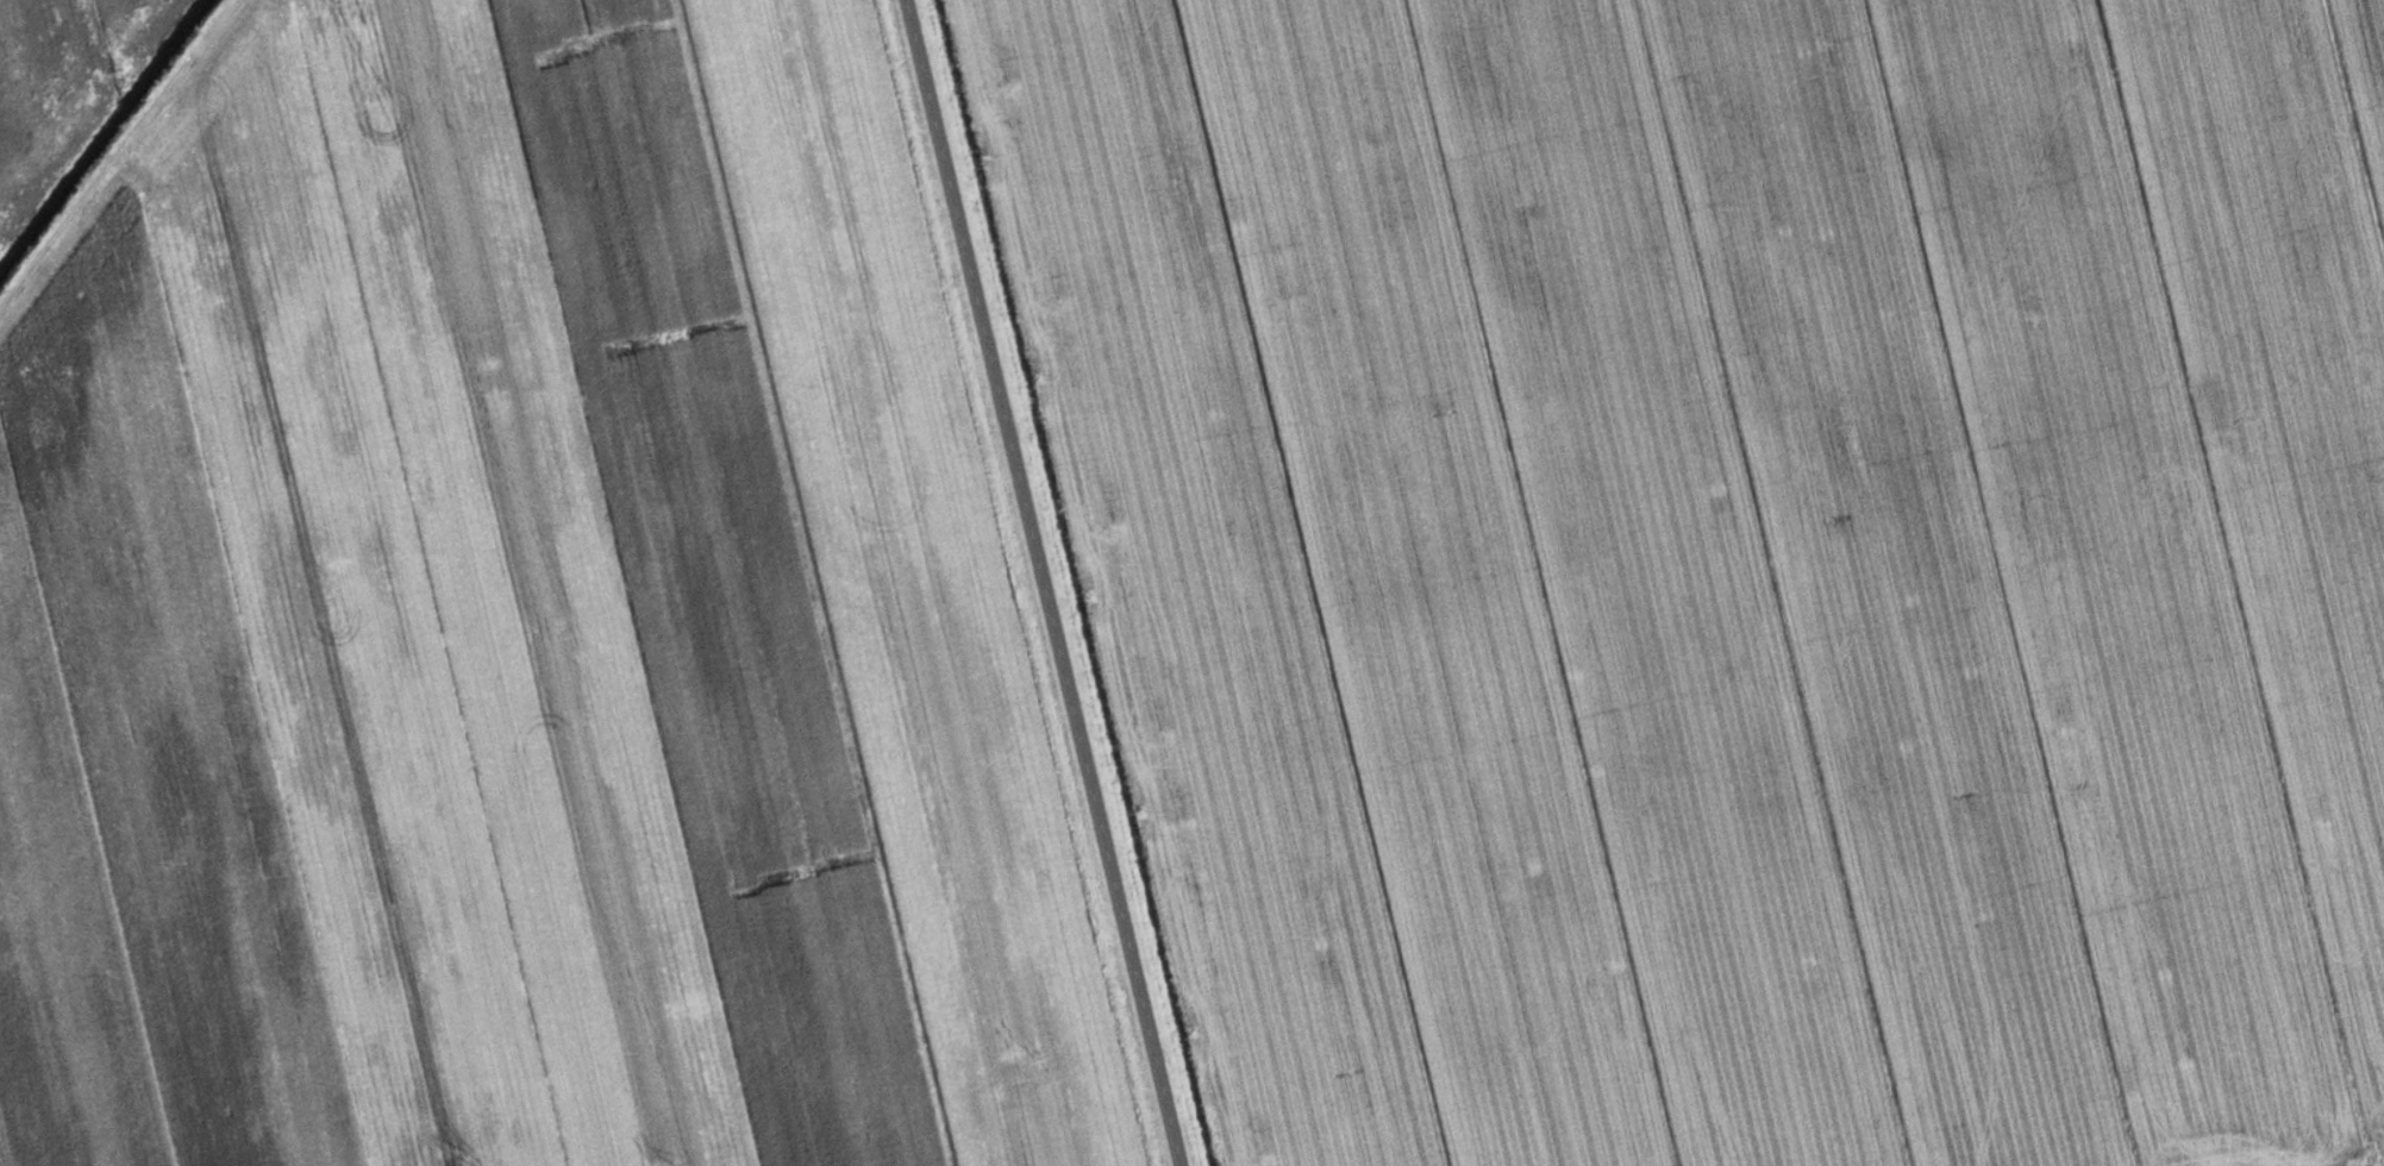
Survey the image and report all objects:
crop: (62, 82)
crop: (1728, 562)
road: (1034, 583)
crop: (518, 626)

